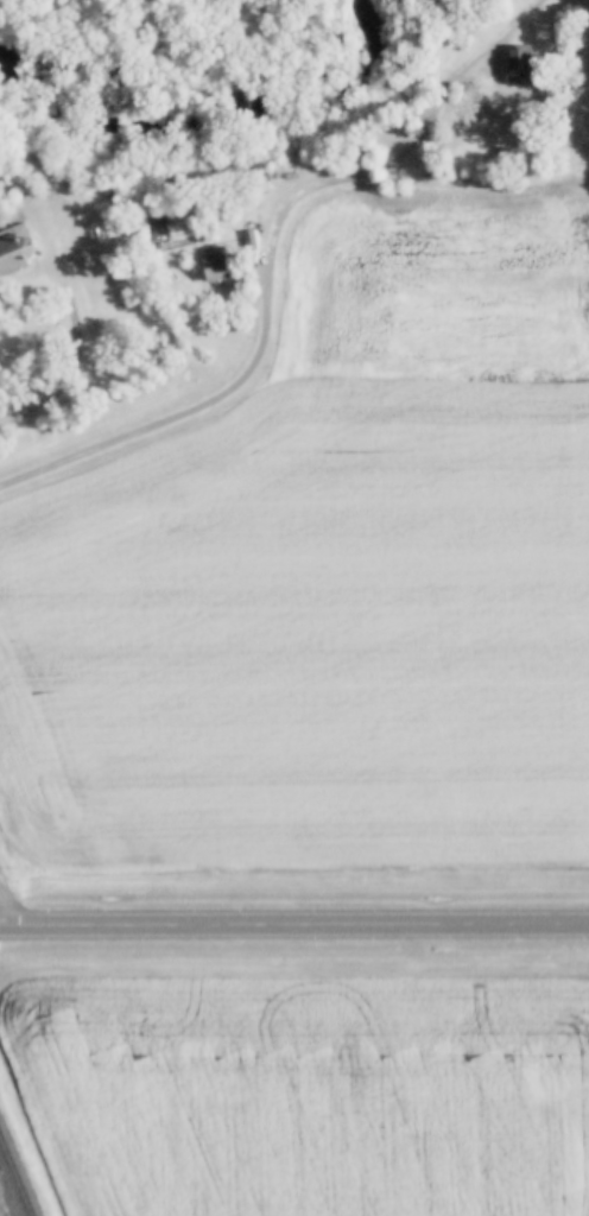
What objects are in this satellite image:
building: (517, 64)
road: (419, 128)
building: (248, 239)
building: (8, 253)
building: (211, 267)
road: (72, 355)
road: (199, 401)
road: (6, 906)
road: (293, 921)
railway: (15, 1178)

